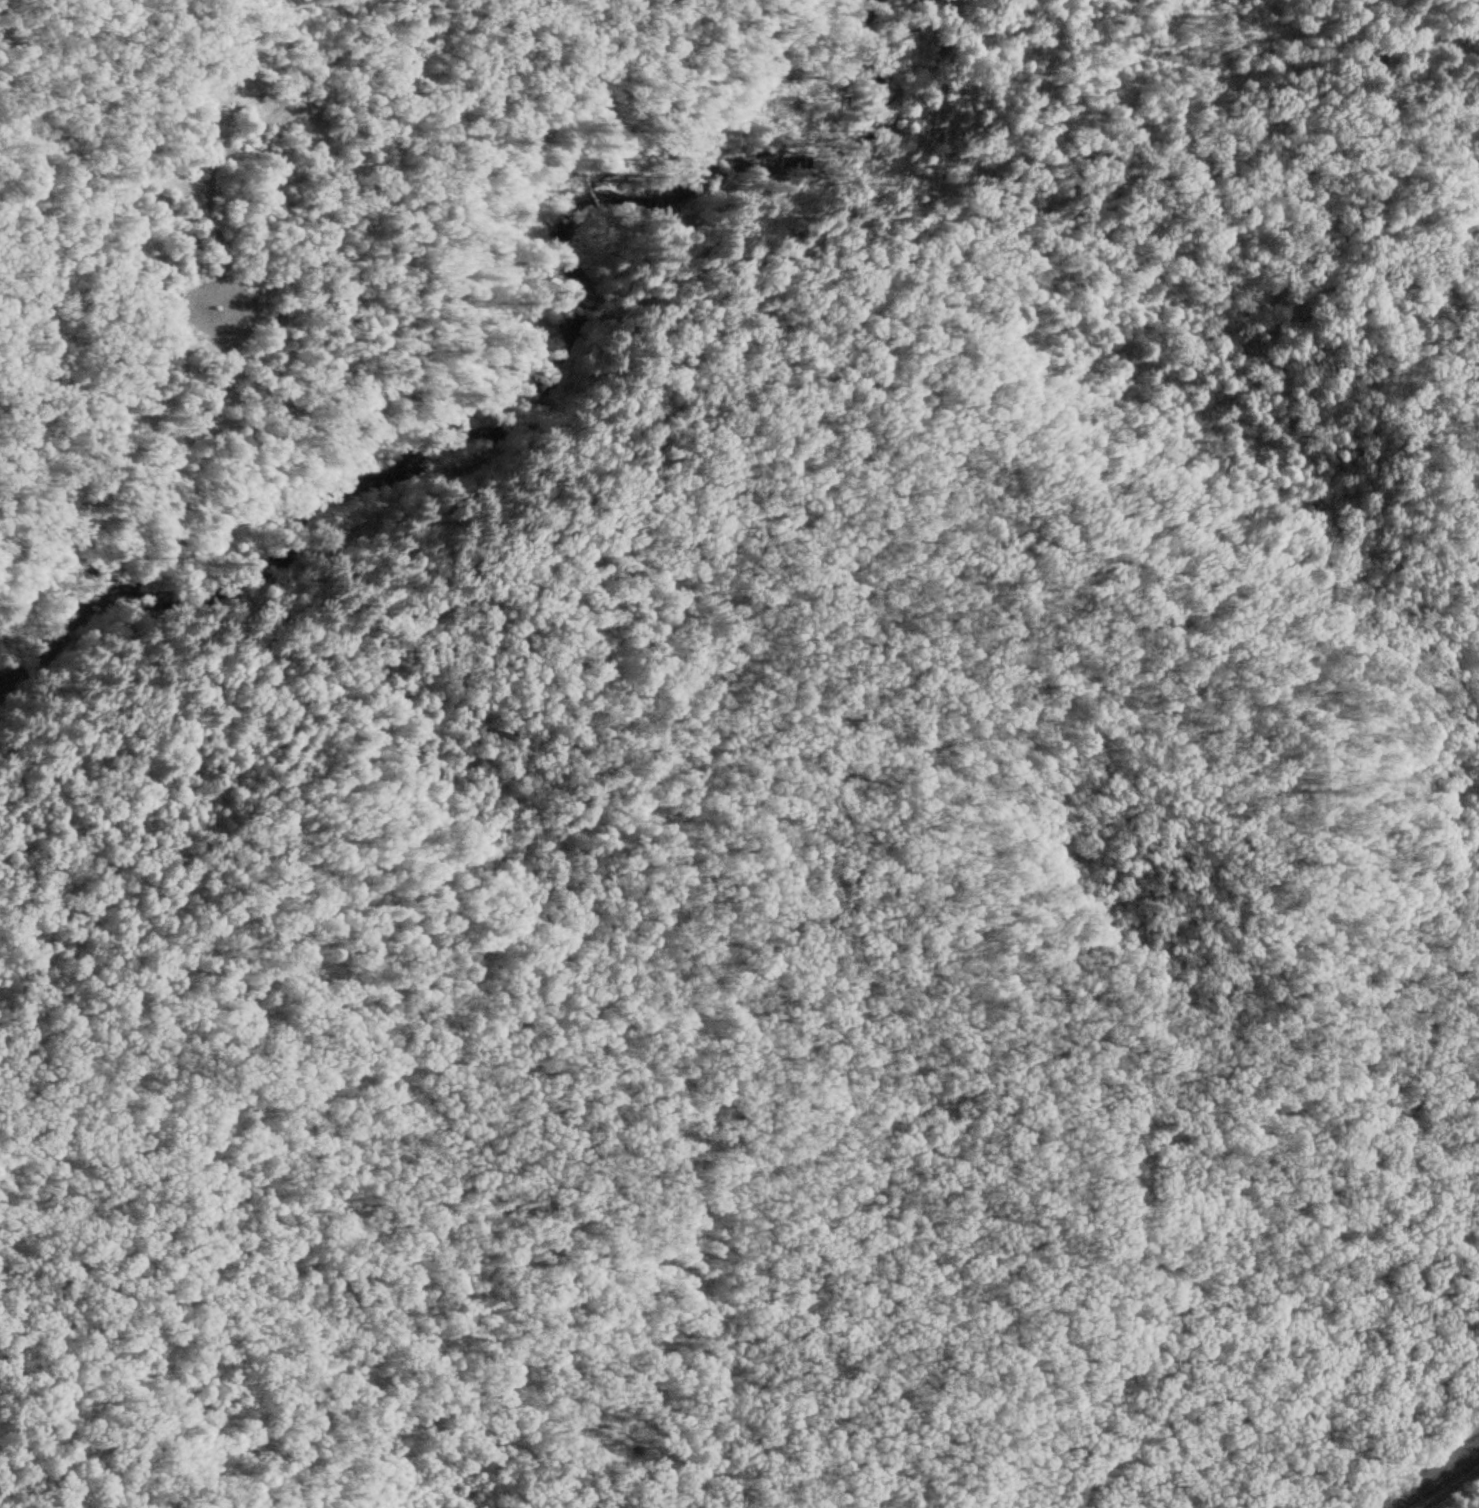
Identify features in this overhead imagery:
road: (1361, 558)
railway: (1432, 1476)

